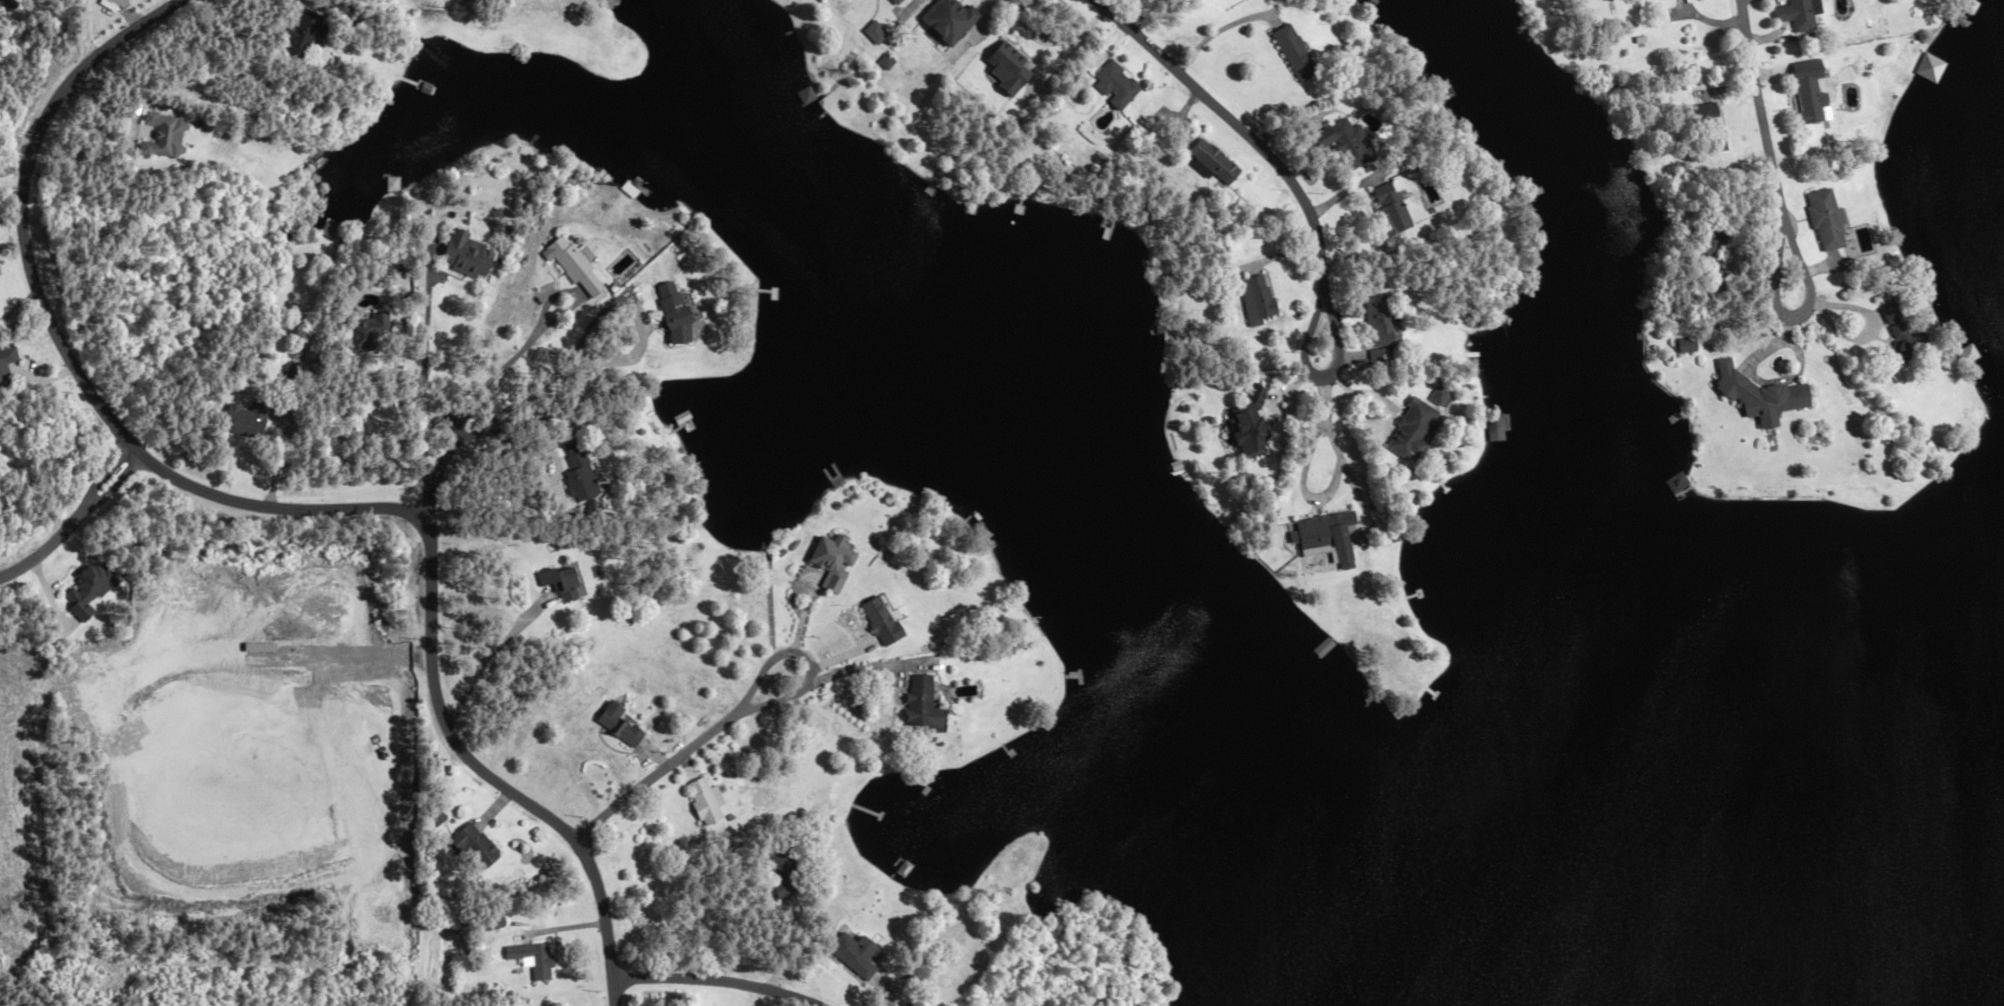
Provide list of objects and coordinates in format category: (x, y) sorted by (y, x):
building: (897, 1)
road: (907, 10)
building: (1799, 14)
building: (951, 20)
road: (85, 29)
building: (309, 33)
building: (878, 34)
building: (1287, 53)
building: (1013, 68)
building: (1119, 85)
building: (1810, 100)
road: (1762, 103)
road: (1242, 127)
building: (1713, 129)
building: (167, 135)
building: (1339, 143)
building: (1210, 161)
building: (1387, 209)
building: (1826, 221)
building: (473, 255)
building: (1705, 258)
building: (580, 268)
building: (1252, 296)
road: (1784, 313)
building: (681, 314)
building: (1381, 322)
building: (371, 331)
road: (426, 346)
building: (1892, 346)
road: (68, 350)
building: (8, 365)
road: (1310, 368)
road: (562, 375)
building: (1755, 399)
building: (254, 420)
road: (465, 422)
road: (519, 424)
building: (1237, 425)
building: (1489, 428)
building: (1410, 431)
road: (107, 469)
building: (581, 472)
road: (1303, 487)
road: (427, 500)
road: (75, 515)
building: (1317, 538)
building: (820, 562)
building: (565, 583)
building: (865, 615)
road: (800, 687)
building: (911, 703)
building: (622, 724)
road: (656, 770)
road: (487, 776)
building: (708, 801)
building: (478, 844)
building: (855, 954)
building: (533, 958)
road: (715, 980)

